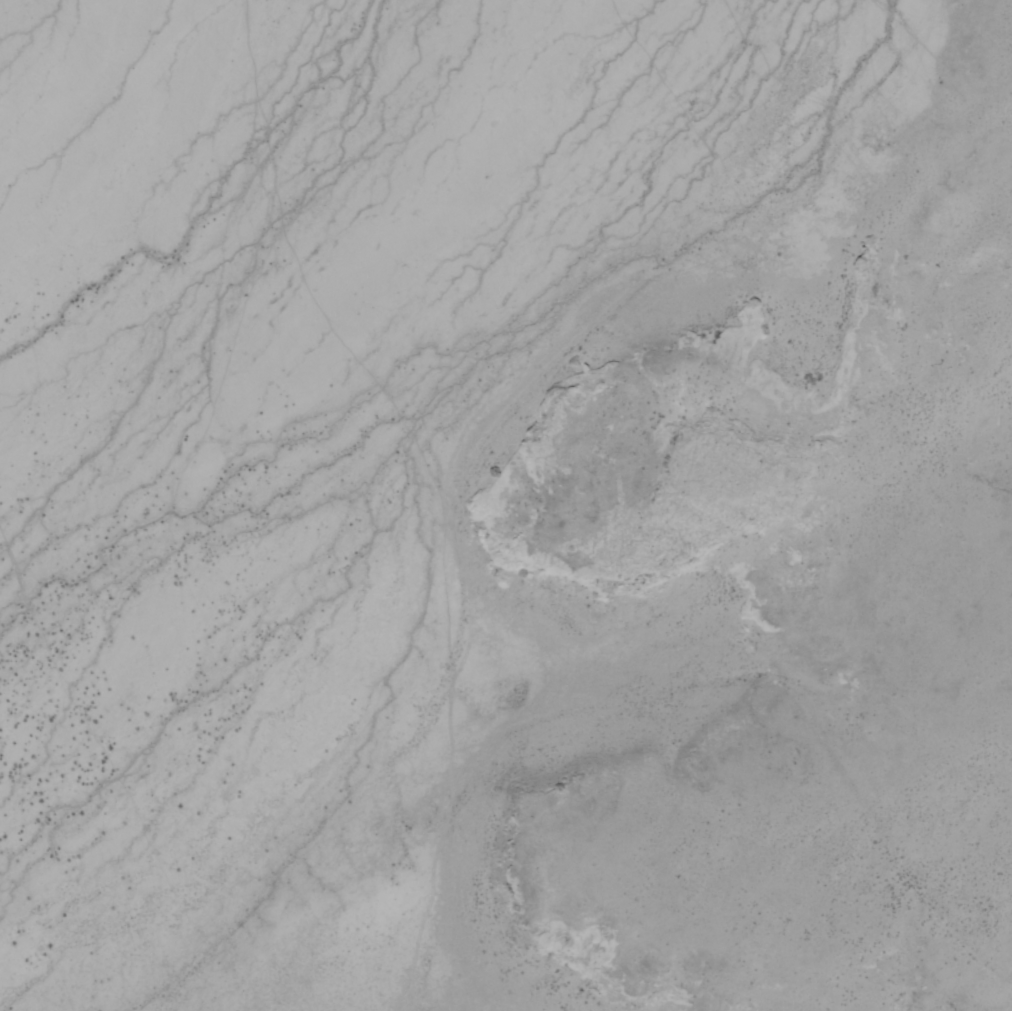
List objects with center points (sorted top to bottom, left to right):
river: (502, 304)
river: (361, 338)

